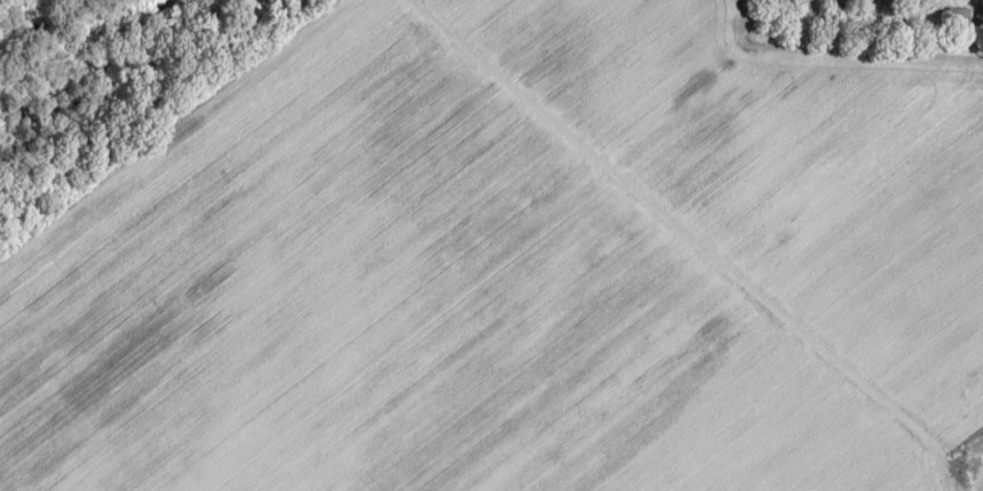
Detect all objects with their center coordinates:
building: (959, 14)

